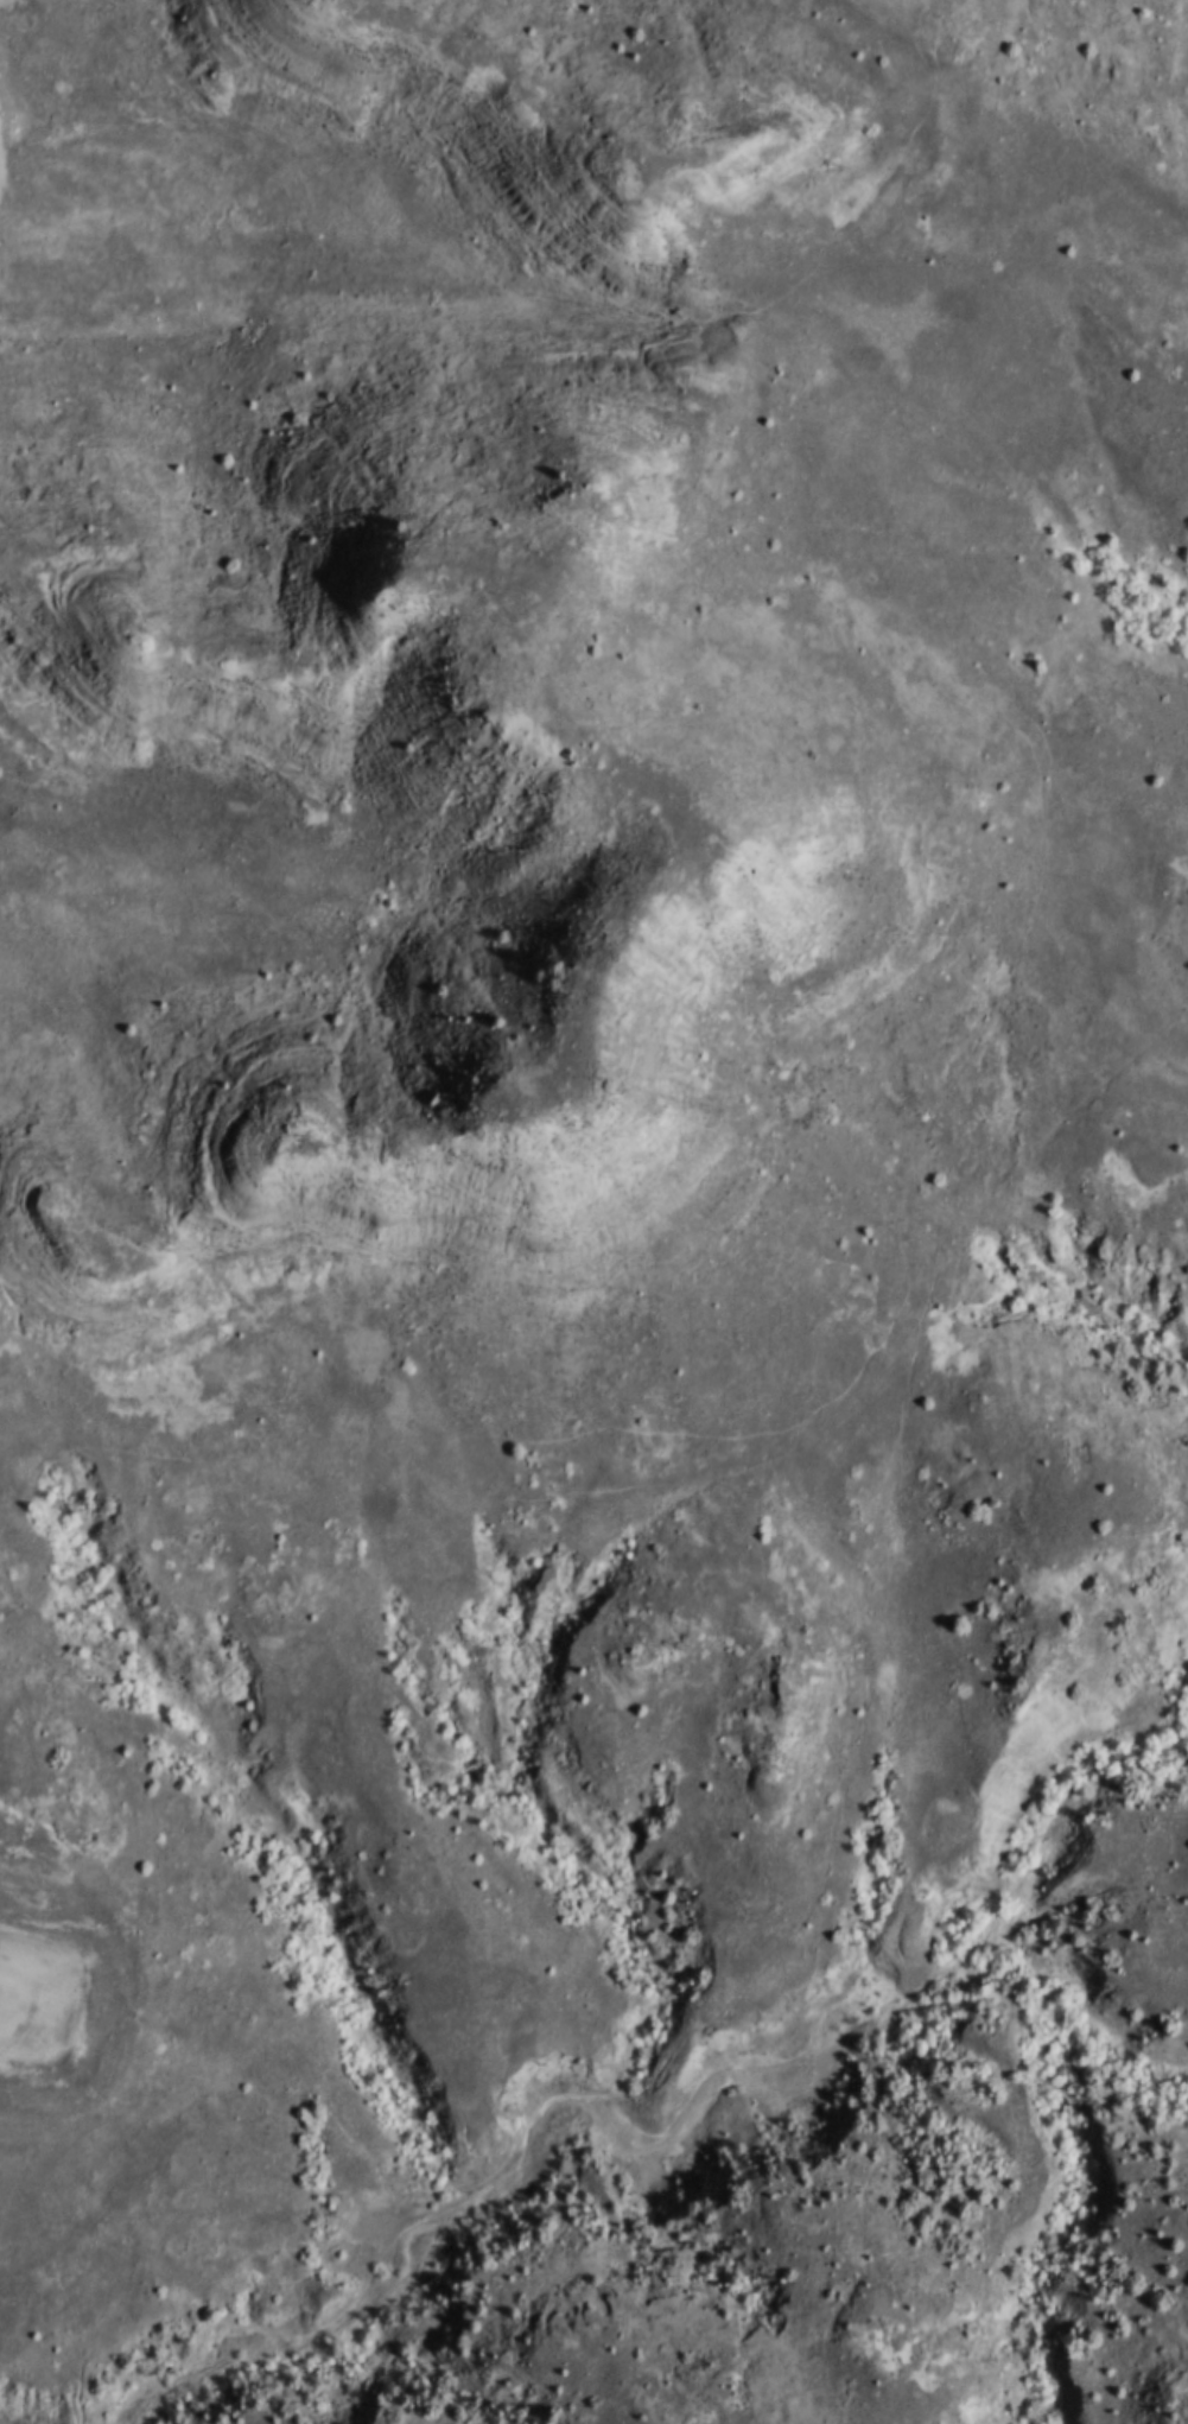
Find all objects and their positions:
road: (14, 1984)

